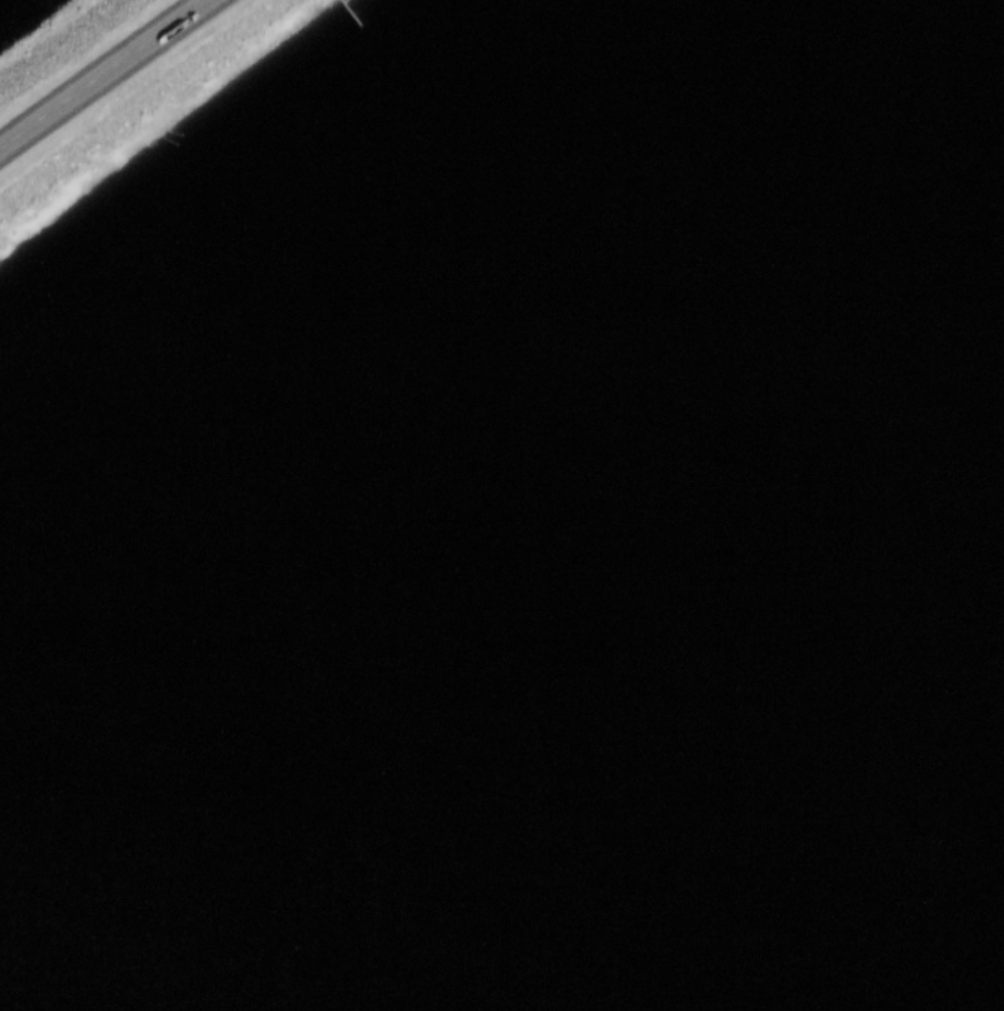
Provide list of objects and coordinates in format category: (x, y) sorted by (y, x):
road: (121, 19)
road: (47, 74)

